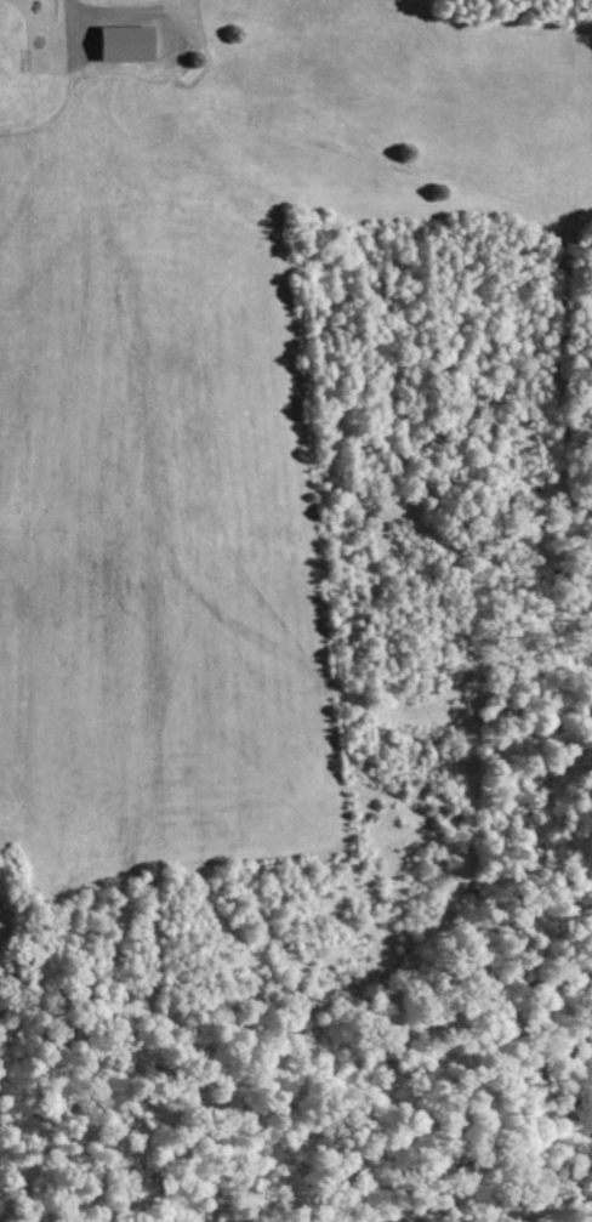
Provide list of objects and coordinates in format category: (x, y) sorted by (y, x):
road: (78, 40)
building: (119, 42)
road: (45, 118)

